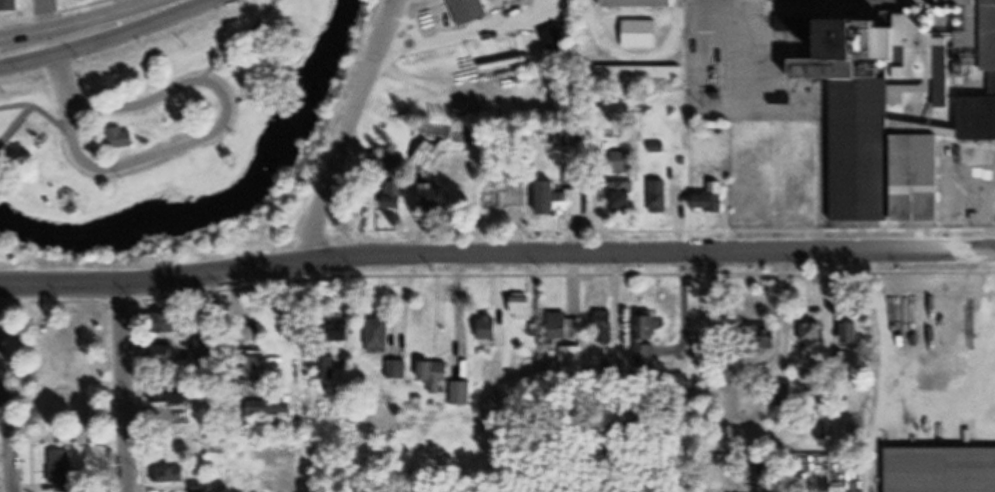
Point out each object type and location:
road: (179, 2)
road: (129, 4)
building: (638, 4)
building: (11, 5)
building: (470, 11)
road: (48, 13)
road: (85, 16)
road: (239, 37)
building: (556, 41)
road: (89, 42)
building: (640, 75)
building: (904, 105)
road: (101, 111)
park: (151, 114)
road: (14, 127)
road: (351, 130)
building: (122, 138)
road: (195, 140)
building: (429, 157)
building: (621, 163)
building: (505, 195)
building: (659, 197)
building: (623, 198)
building: (434, 199)
building: (563, 200)
building: (709, 204)
river: (231, 212)
road: (496, 252)
road: (458, 300)
building: (169, 323)
building: (561, 326)
building: (487, 327)
building: (604, 328)
building: (648, 332)
building: (851, 332)
building: (379, 335)
building: (764, 336)
building: (206, 351)
building: (165, 356)
building: (570, 359)
park: (61, 363)
building: (259, 371)
road: (121, 388)
building: (461, 393)
building: (169, 394)
building: (273, 409)
road: (11, 431)
building: (942, 469)
building: (62, 472)
building: (171, 475)

